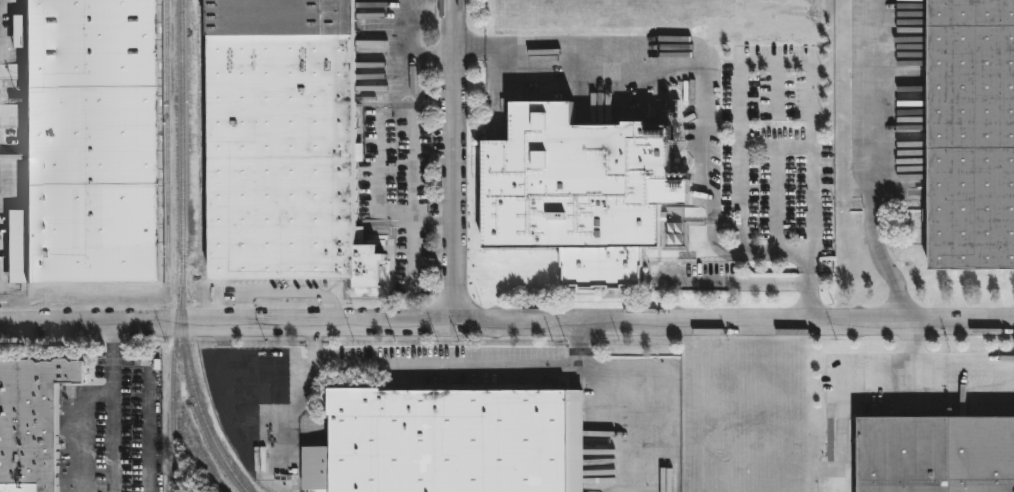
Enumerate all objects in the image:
road: (469, 44)
road: (870, 106)
railway: (199, 128)
building: (970, 132)
railway: (165, 134)
building: (81, 140)
building: (285, 143)
road: (451, 161)
road: (409, 184)
building: (575, 191)
road: (738, 198)
road: (761, 252)
railway: (181, 254)
road: (889, 271)
road: (740, 283)
road: (810, 298)
road: (228, 325)
road: (735, 326)
road: (949, 360)
road: (425, 367)
railway: (171, 373)
road: (660, 386)
road: (228, 392)
road: (88, 400)
building: (29, 417)
building: (447, 440)
building: (935, 453)

